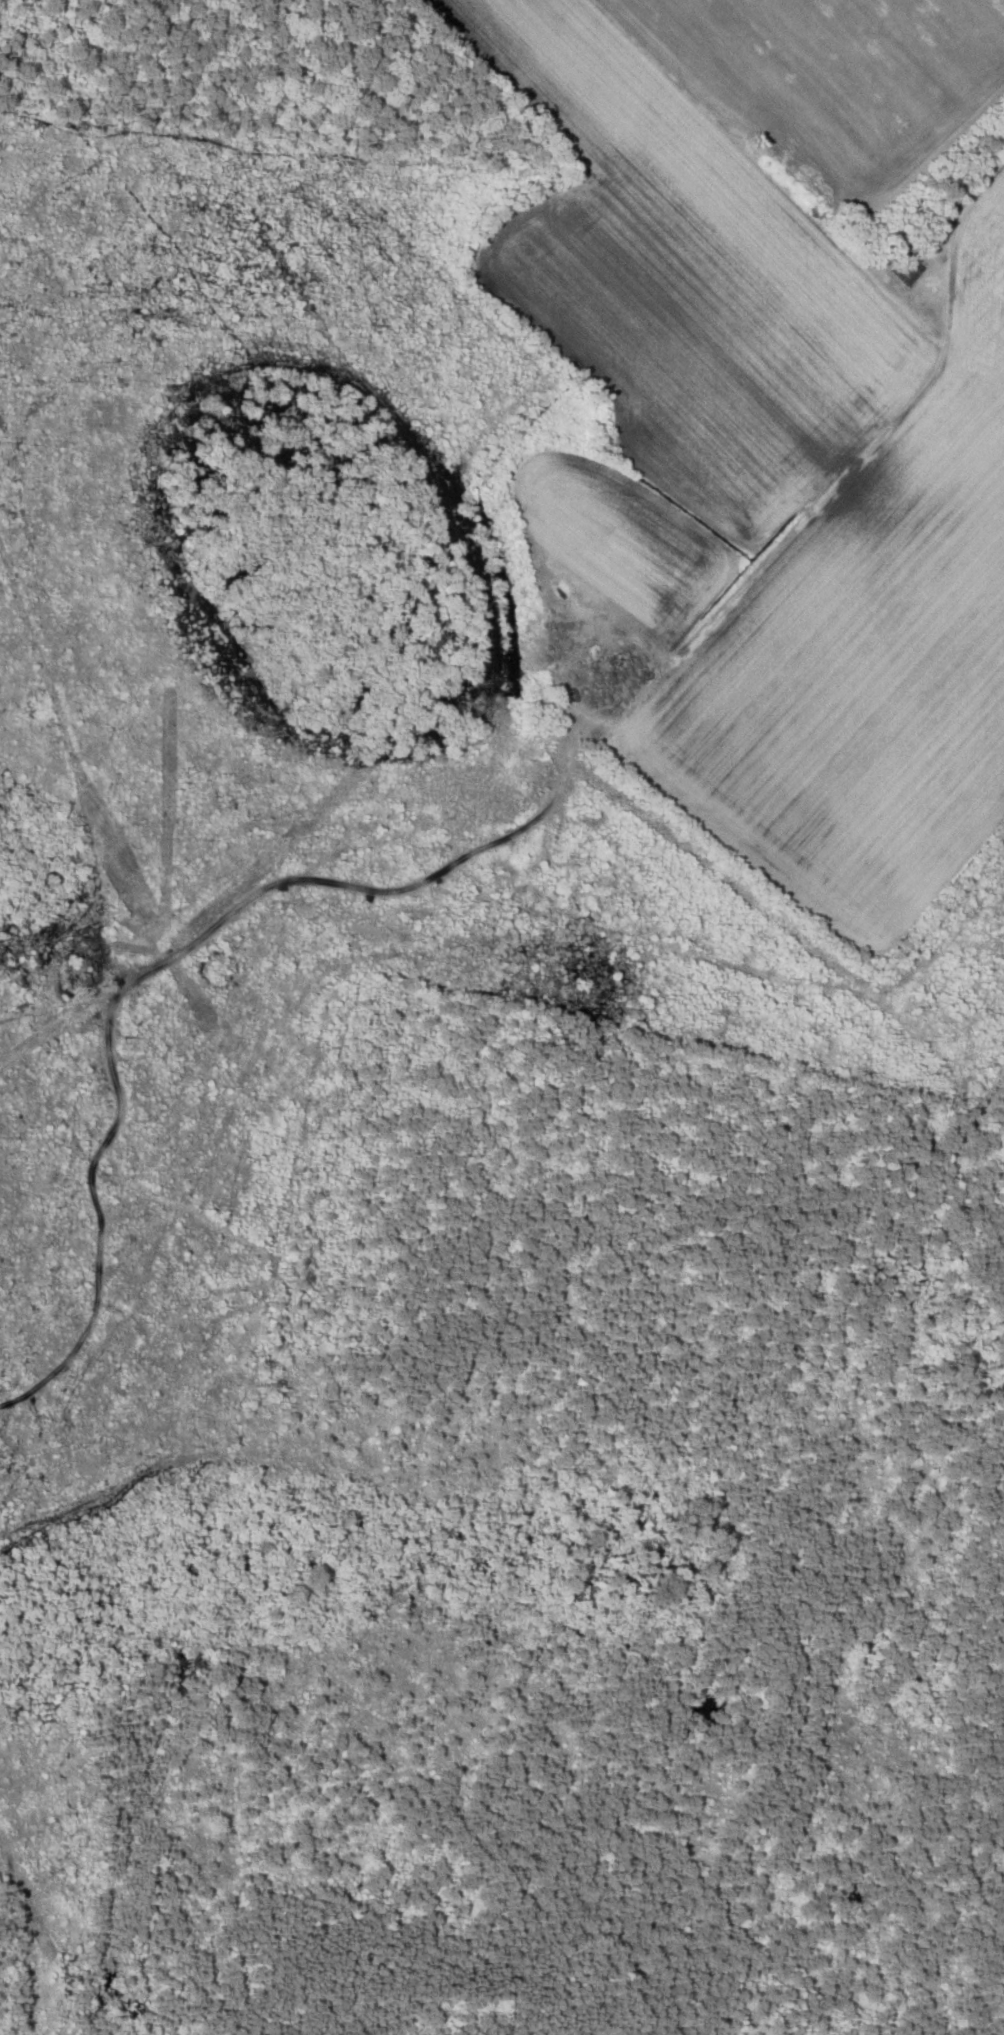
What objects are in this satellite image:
building: (906, 271)

